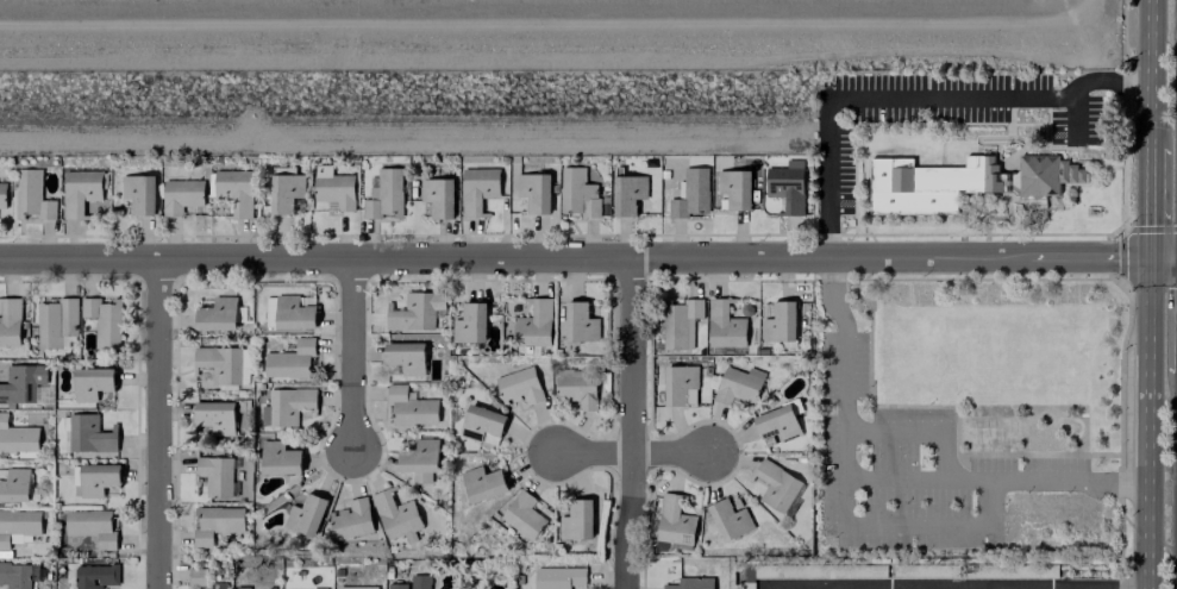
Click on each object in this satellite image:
dam: (544, 18)
road: (1150, 74)
road: (1104, 82)
parking lot: (938, 96)
road: (893, 98)
parking lot: (1079, 123)
parking lot: (845, 171)
building: (960, 182)
building: (785, 186)
building: (333, 188)
building: (477, 188)
building: (734, 188)
building: (233, 190)
building: (79, 192)
building: (284, 192)
building: (534, 192)
building: (138, 193)
building: (577, 193)
building: (627, 193)
building: (690, 193)
building: (2, 194)
building: (383, 194)
building: (31, 195)
building: (180, 195)
building: (437, 196)
road: (1148, 202)
road: (1087, 256)
traffic signals: (1148, 257)
road: (1163, 257)
road: (513, 261)
building: (415, 311)
building: (289, 312)
building: (217, 314)
building: (104, 319)
building: (10, 321)
building: (56, 321)
building: (580, 322)
building: (680, 322)
building: (780, 322)
building: (469, 324)
building: (533, 324)
building: (724, 325)
road: (353, 356)
building: (406, 357)
building: (289, 359)
building: (223, 363)
building: (21, 382)
building: (92, 383)
building: (680, 384)
building: (738, 384)
building: (518, 386)
building: (575, 388)
building: (284, 405)
building: (409, 407)
building: (214, 415)
building: (481, 422)
road: (1147, 422)
road: (159, 424)
road: (636, 425)
building: (776, 425)
road: (916, 430)
building: (88, 434)
building: (17, 437)
road: (634, 453)
building: (278, 458)
building: (420, 459)
building: (217, 475)
building: (98, 478)
road: (916, 480)
building: (482, 483)
building: (13, 484)
building: (776, 485)
building: (395, 514)
building: (522, 514)
building: (305, 515)
building: (351, 519)
building: (730, 519)
building: (576, 520)
building: (674, 520)
building: (214, 522)
building: (17, 525)
road: (882, 525)
building: (92, 526)
building: (18, 575)
building: (94, 576)
building: (196, 577)
building: (558, 577)
building: (412, 582)
building: (690, 583)
building: (217, 585)
road: (921, 585)
road: (1084, 585)
building: (357, 587)
road: (978, 587)
road: (1023, 587)
road: (1025, 587)
road: (794, 588)
road: (820, 588)

